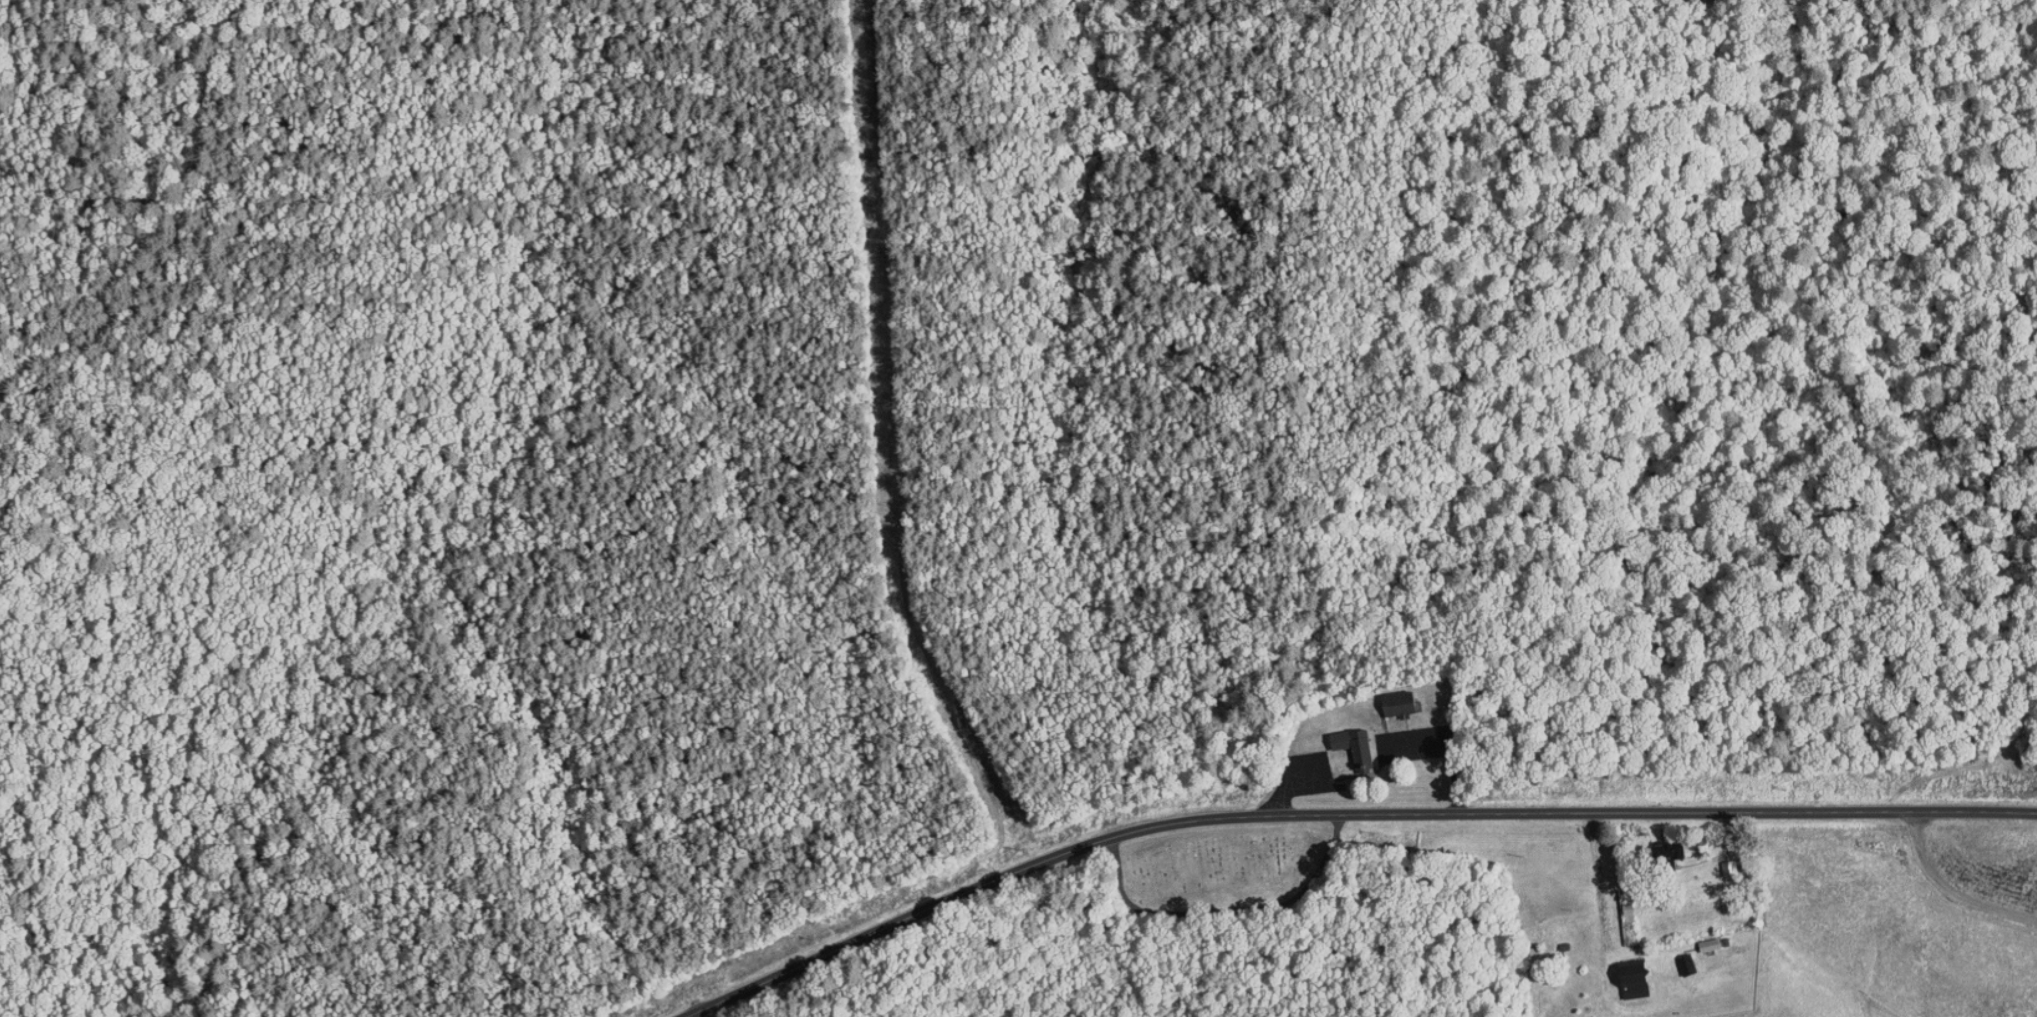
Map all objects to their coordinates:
building: (1382, 697)
building: (1338, 740)
road: (1341, 806)
building: (1654, 847)
park: (1221, 866)
road: (1602, 887)
road: (1948, 889)
building: (1615, 906)
building: (1697, 938)
building: (1673, 958)
building: (1620, 972)
road: (695, 1015)

